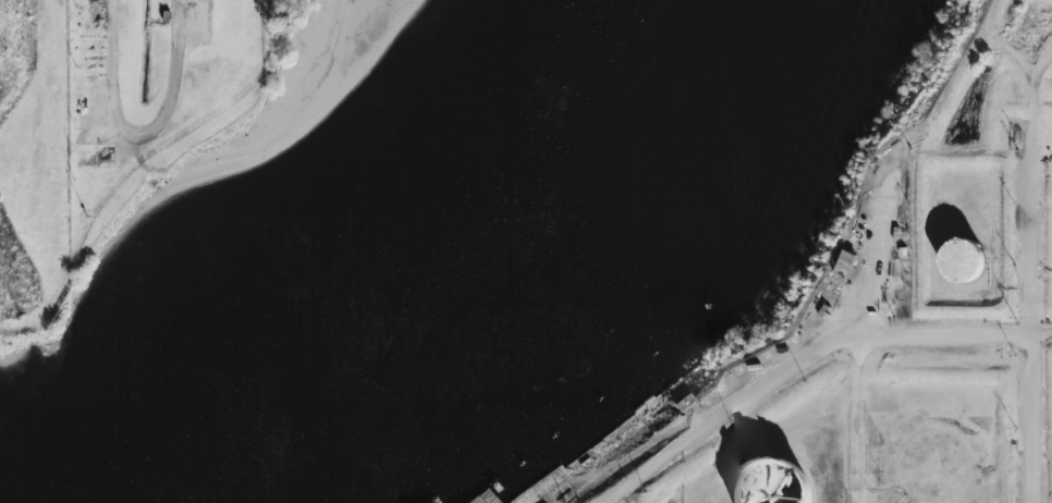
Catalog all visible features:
road: (114, 75)
road: (179, 87)
road: (1040, 238)
building: (961, 267)
storage tank: (961, 267)
river: (461, 290)
building: (770, 484)
storage tank: (770, 484)

